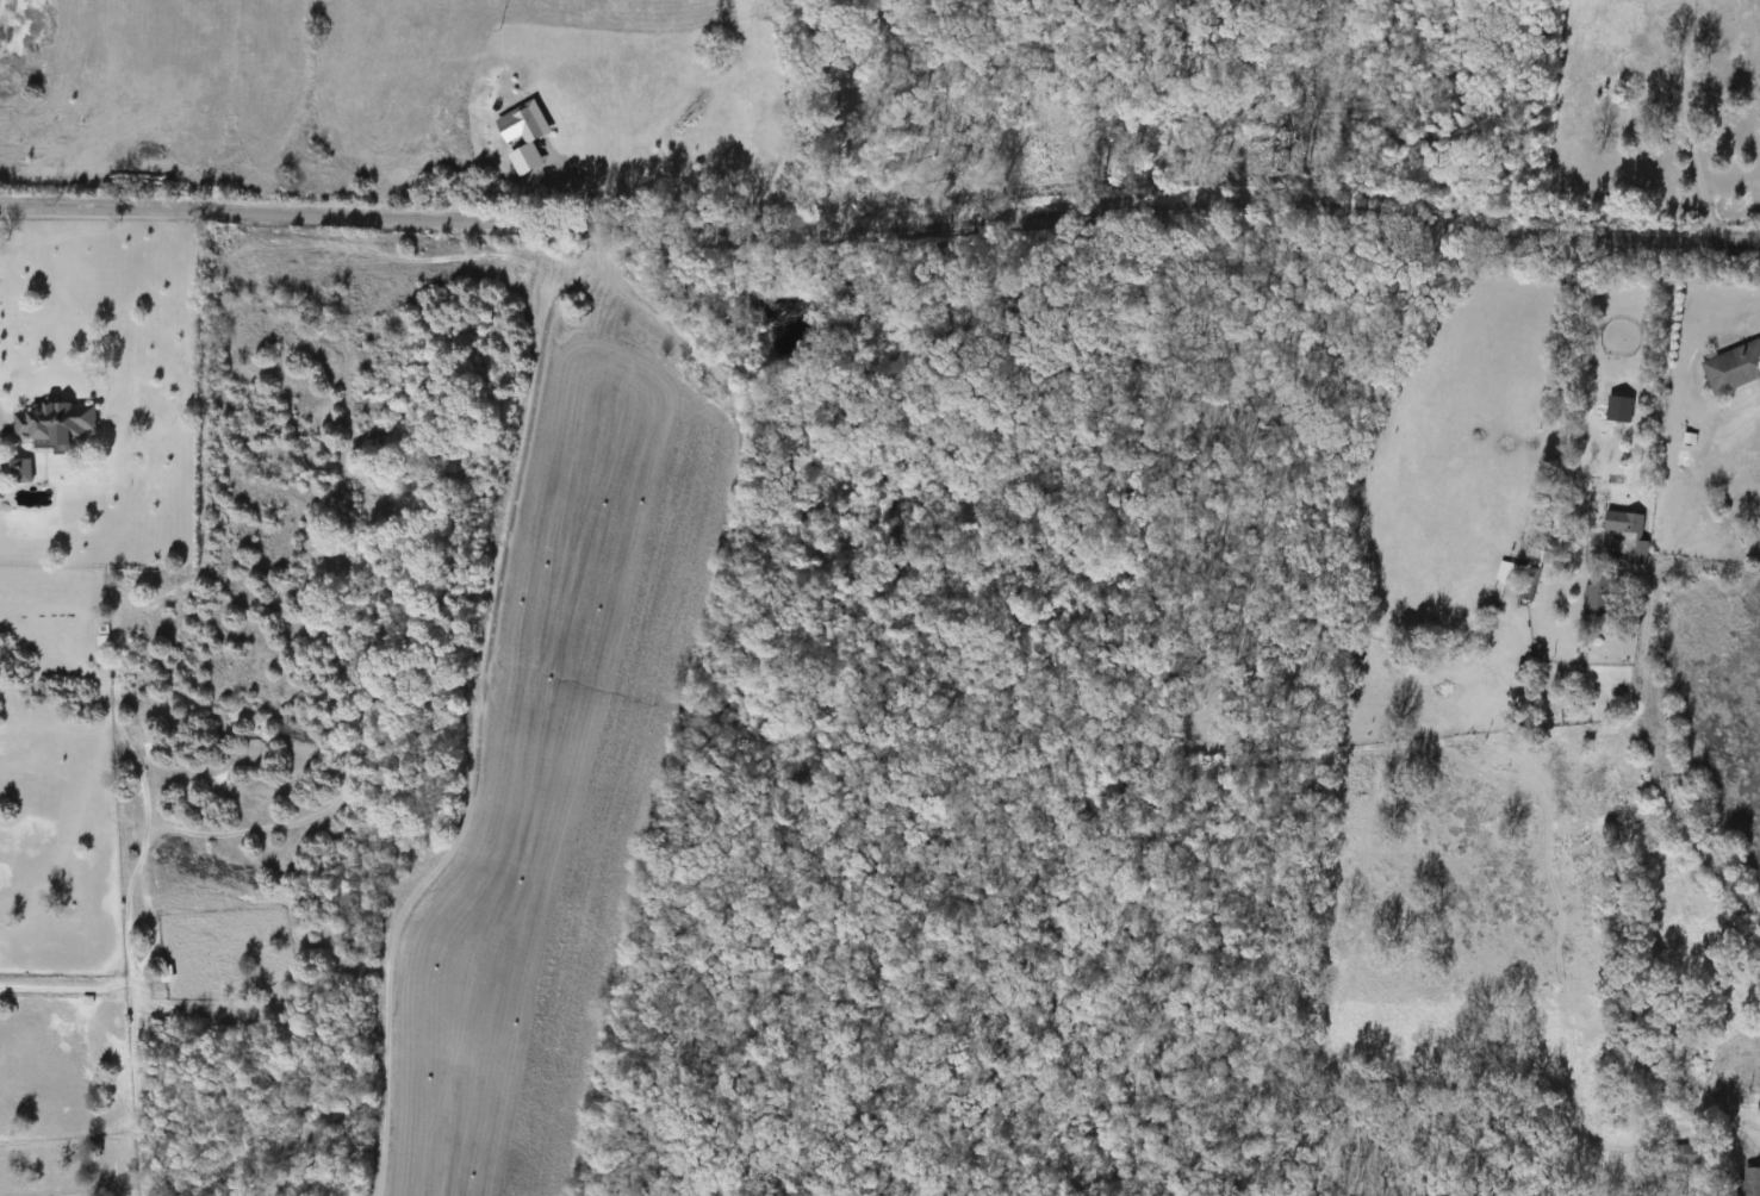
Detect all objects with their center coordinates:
road: (835, 117)
building: (528, 120)
road: (1680, 120)
road: (881, 228)
building: (1731, 366)
road: (1563, 416)
building: (52, 422)
building: (15, 471)
building: (1621, 521)
building: (1638, 552)
building: (1506, 572)
building: (1596, 594)
road: (480, 715)
building: (1684, 1153)
building: (1749, 1181)

